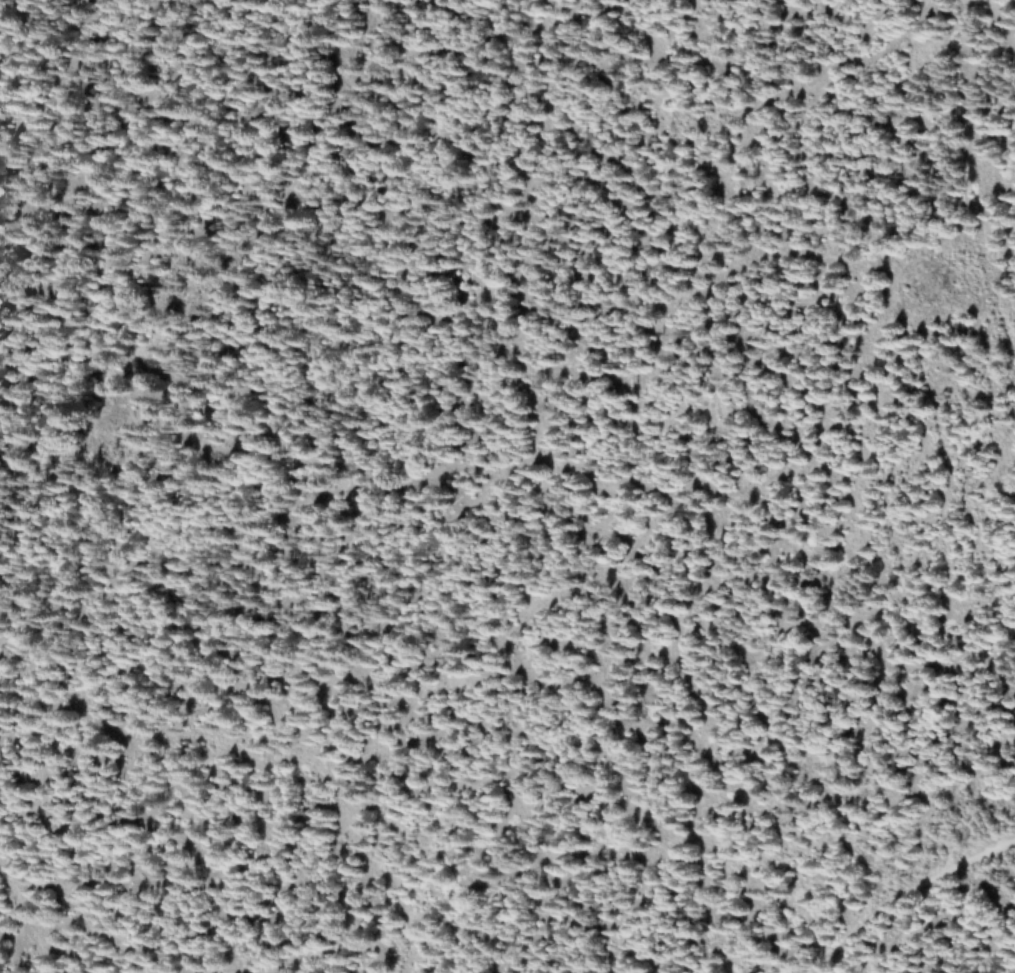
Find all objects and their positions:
road: (905, 890)

